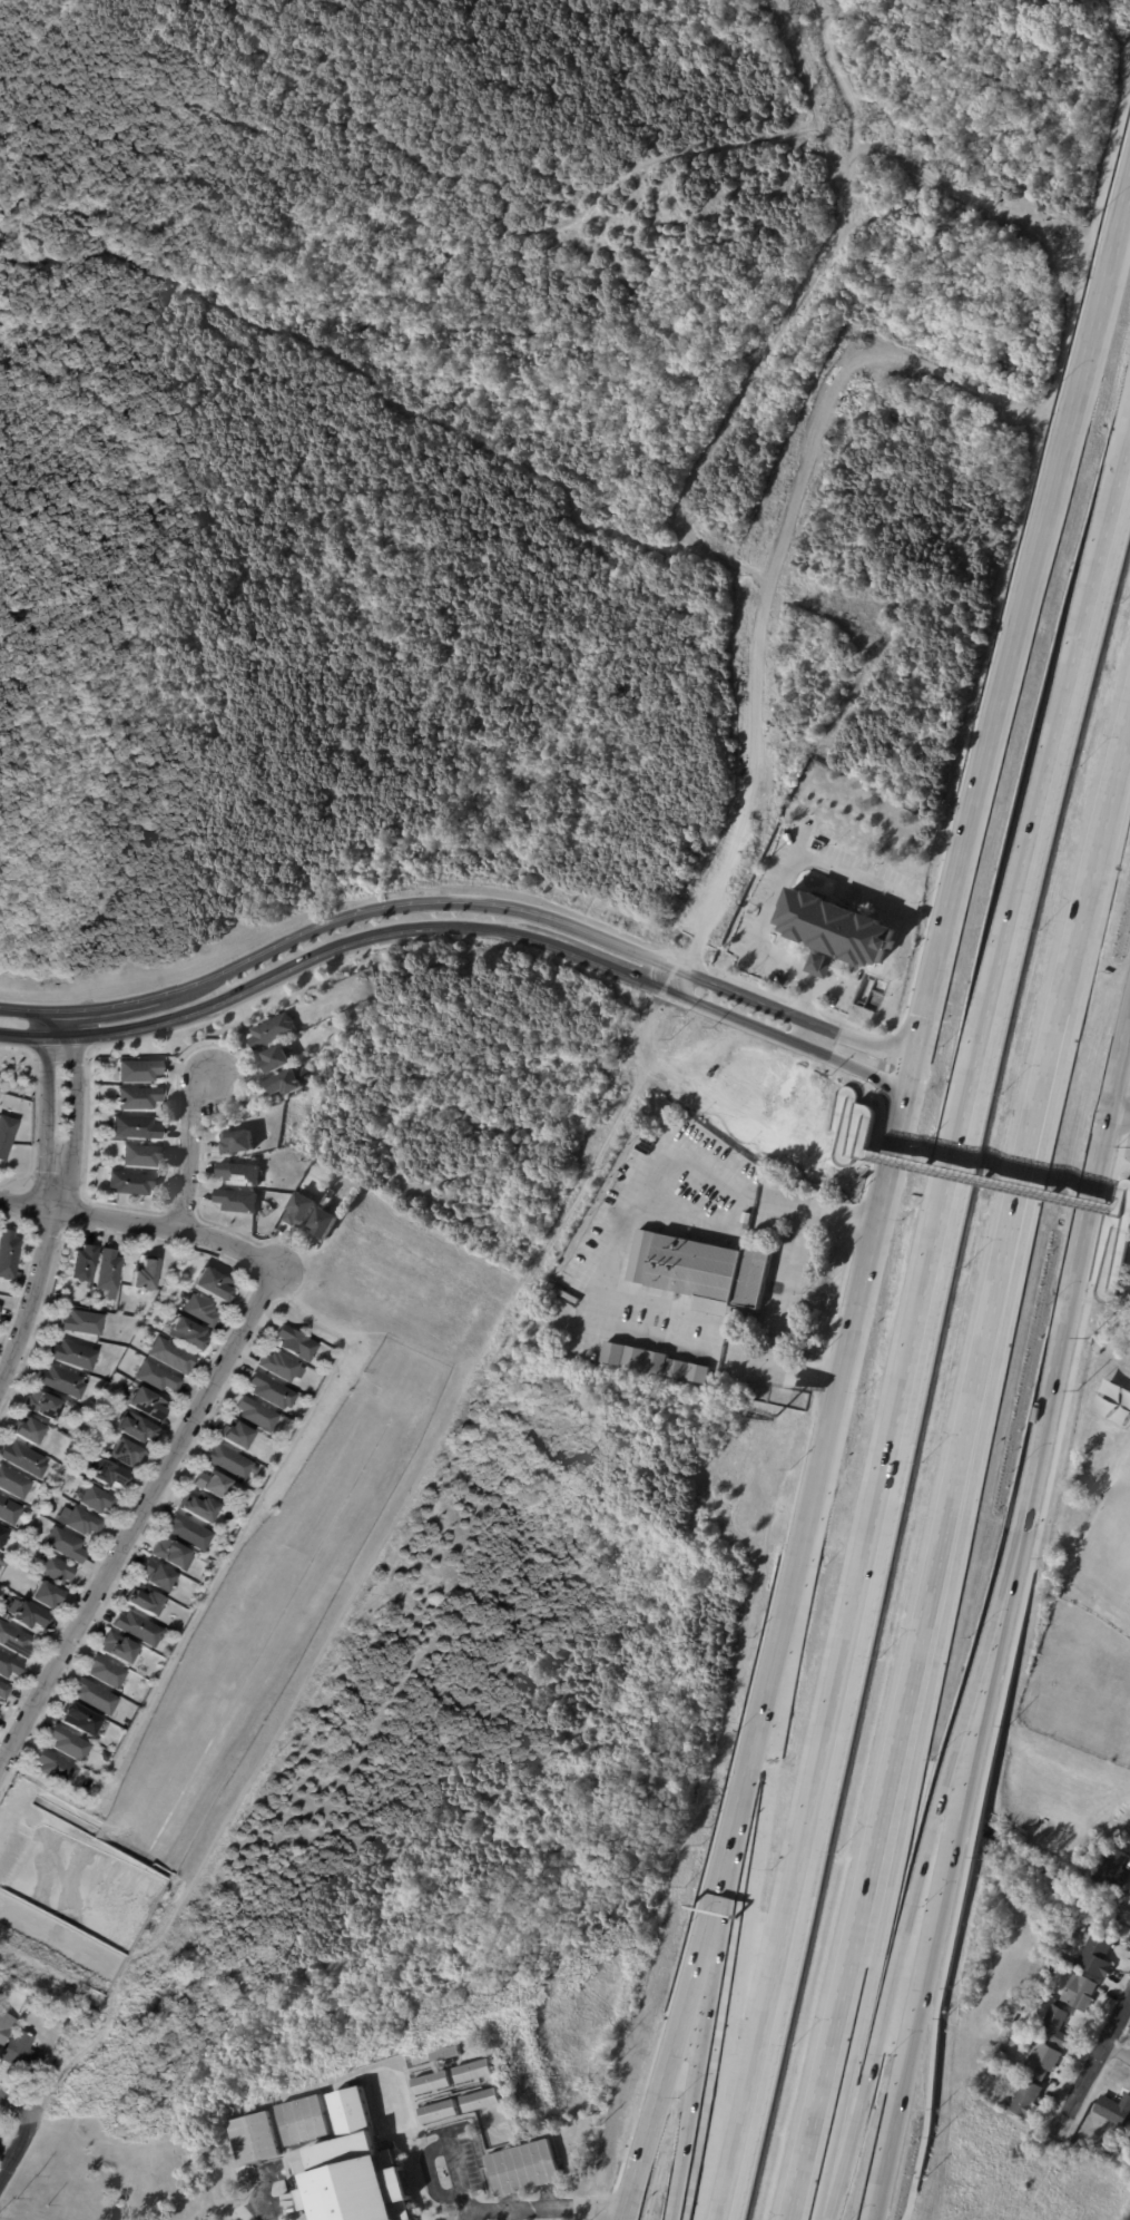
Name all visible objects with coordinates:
road: (60, 70)
road: (851, 99)
road: (215, 110)
building: (862, 129)
road: (967, 195)
road: (1124, 225)
road: (540, 231)
road: (793, 301)
road: (350, 365)
road: (1043, 549)
road: (865, 666)
road: (776, 767)
road: (1094, 870)
road: (854, 876)
road: (461, 901)
road: (763, 920)
building: (843, 927)
road: (404, 929)
road: (940, 957)
road: (824, 961)
road: (685, 985)
road: (806, 1000)
building: (269, 1030)
road: (810, 1035)
building: (273, 1058)
road: (857, 1068)
building: (135, 1069)
road: (911, 1076)
building: (288, 1080)
building: (135, 1097)
road: (45, 1106)
road: (1122, 1107)
road: (73, 1108)
road: (787, 1109)
road: (848, 1109)
road: (32, 1112)
building: (134, 1127)
building: (7, 1133)
building: (855, 1135)
building: (236, 1141)
road: (186, 1151)
building: (139, 1155)
building: (238, 1173)
building: (129, 1182)
road: (991, 1182)
road: (1120, 1195)
building: (235, 1201)
building: (297, 1211)
road: (144, 1224)
building: (322, 1224)
road: (1081, 1248)
road: (620, 1252)
building: (9, 1253)
building: (79, 1263)
building: (107, 1270)
road: (1106, 1272)
building: (709, 1273)
building: (141, 1274)
building: (562, 1279)
building: (209, 1284)
road: (794, 1290)
building: (56, 1295)
road: (32, 1297)
road: (993, 1309)
building: (197, 1310)
road: (854, 1318)
building: (79, 1322)
building: (559, 1324)
building: (184, 1332)
road: (916, 1332)
building: (294, 1343)
building: (69, 1355)
building: (169, 1355)
building: (276, 1366)
building: (155, 1378)
building: (59, 1381)
building: (268, 1391)
building: (41, 1405)
building: (144, 1405)
building: (254, 1414)
building: (132, 1428)
building: (26, 1430)
building: (234, 1435)
building: (122, 1454)
building: (21, 1459)
building: (227, 1463)
building: (105, 1474)
building: (1091, 1480)
building: (11, 1483)
building: (210, 1484)
building: (53, 1496)
building: (94, 1498)
building: (197, 1508)
building: (7, 1512)
road: (140, 1520)
building: (79, 1522)
building: (186, 1533)
building: (1, 1535)
building: (62, 1545)
building: (168, 1553)
building: (215, 1561)
building: (52, 1569)
building: (155, 1575)
building: (42, 1595)
building: (143, 1601)
road: (1001, 1604)
building: (3, 1616)
building: (24, 1616)
building: (136, 1629)
building: (13, 1640)
building: (117, 1647)
road: (776, 1652)
road: (1005, 1660)
building: (8, 1666)
building: (104, 1672)
building: (2, 1691)
building: (92, 1696)
building: (77, 1719)
building: (66, 1744)
building: (102, 1757)
building: (53, 1768)
road: (1129, 1816)
building: (1111, 1870)
road: (753, 1884)
building: (1129, 1895)
building: (1129, 1898)
road: (857, 1914)
road: (884, 1915)
building: (1073, 1925)
road: (702, 1934)
road: (928, 1938)
building: (1095, 1954)
building: (1049, 1966)
road: (894, 1985)
road: (711, 1989)
building: (1078, 1994)
building: (1038, 1996)
building: (45, 2007)
building: (1022, 2009)
building: (6, 2027)
building: (1053, 2028)
road: (1120, 2044)
building: (443, 2053)
road: (449, 2053)
building: (23, 2054)
building: (998, 2056)
building: (1040, 2063)
road: (1093, 2067)
building: (471, 2071)
road: (67, 2077)
building: (429, 2082)
building: (1018, 2082)
building: (479, 2099)
building: (1024, 2100)
road: (17, 2103)
building: (1112, 2109)
building: (436, 2111)
building: (301, 2120)
parking lot: (481, 2128)
building: (252, 2138)
building: (1092, 2148)
road: (18, 2153)
road: (639, 2165)
building: (522, 2167)
building: (360, 2169)
road: (261, 2171)
road: (878, 2172)
road: (429, 2173)
road: (544, 2178)
road: (541, 2209)
road: (511, 2216)
parking lot: (450, 2218)

